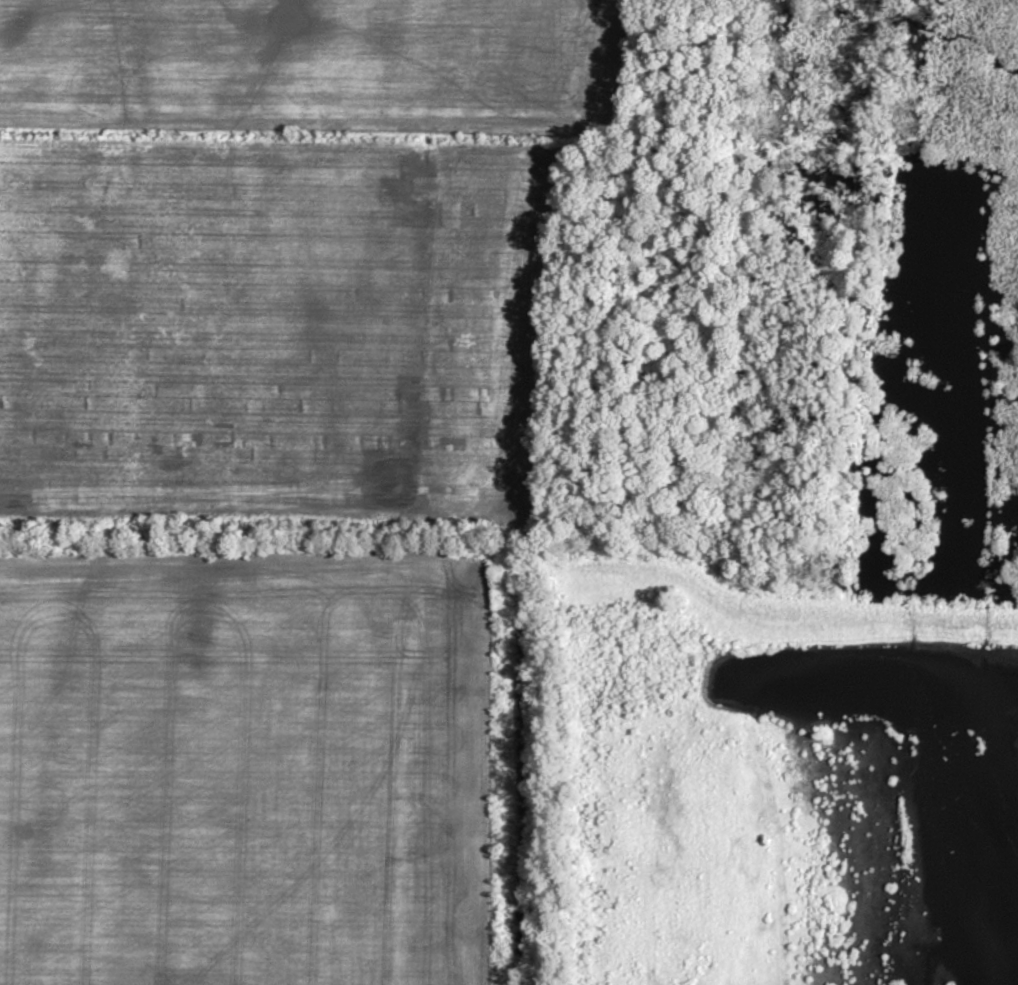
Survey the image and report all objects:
road: (779, 618)

